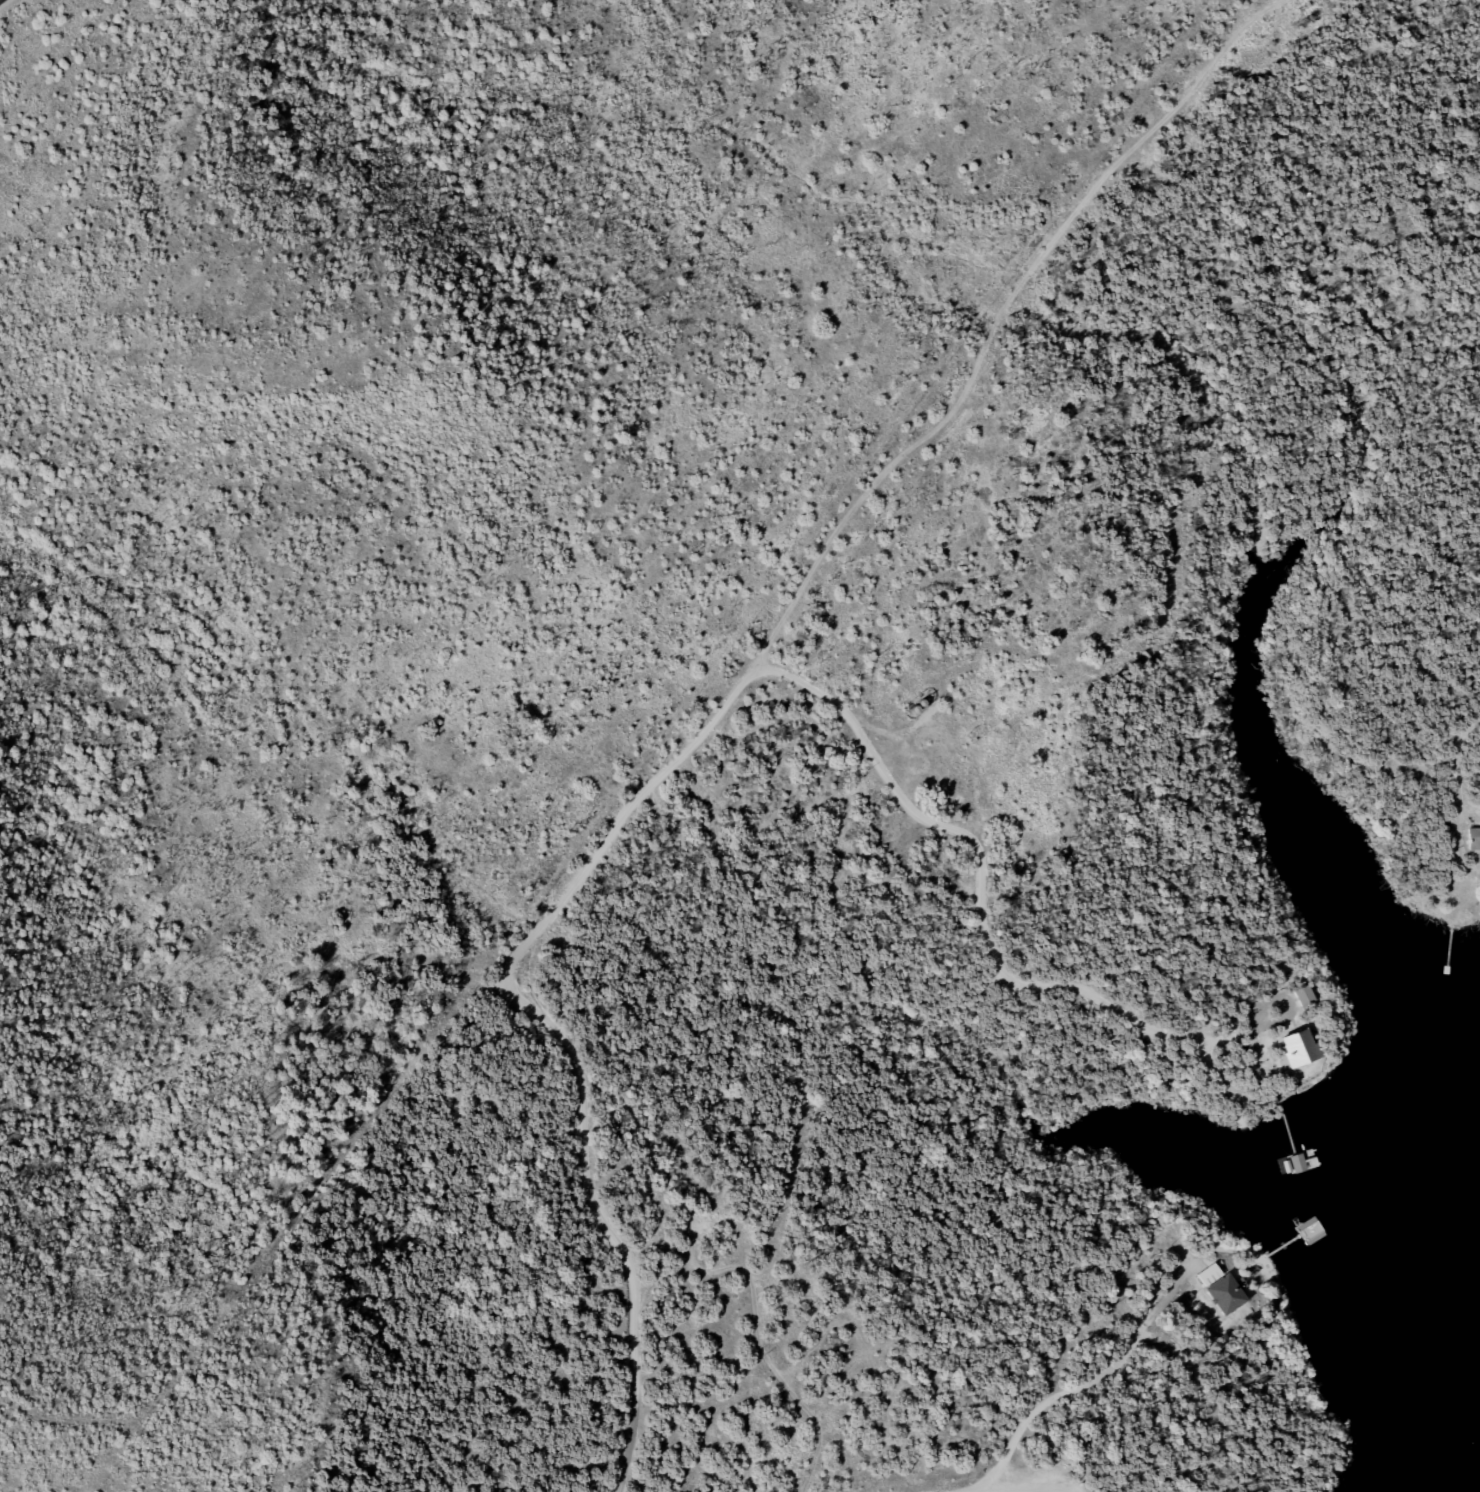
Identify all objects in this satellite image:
road: (1247, 24)
road: (1050, 241)
road: (830, 546)
park: (438, 552)
road: (1470, 770)
building: (1473, 840)
road: (991, 892)
building: (1302, 997)
road: (574, 1021)
building: (1298, 1048)
building: (1220, 1289)
road: (1030, 1487)

